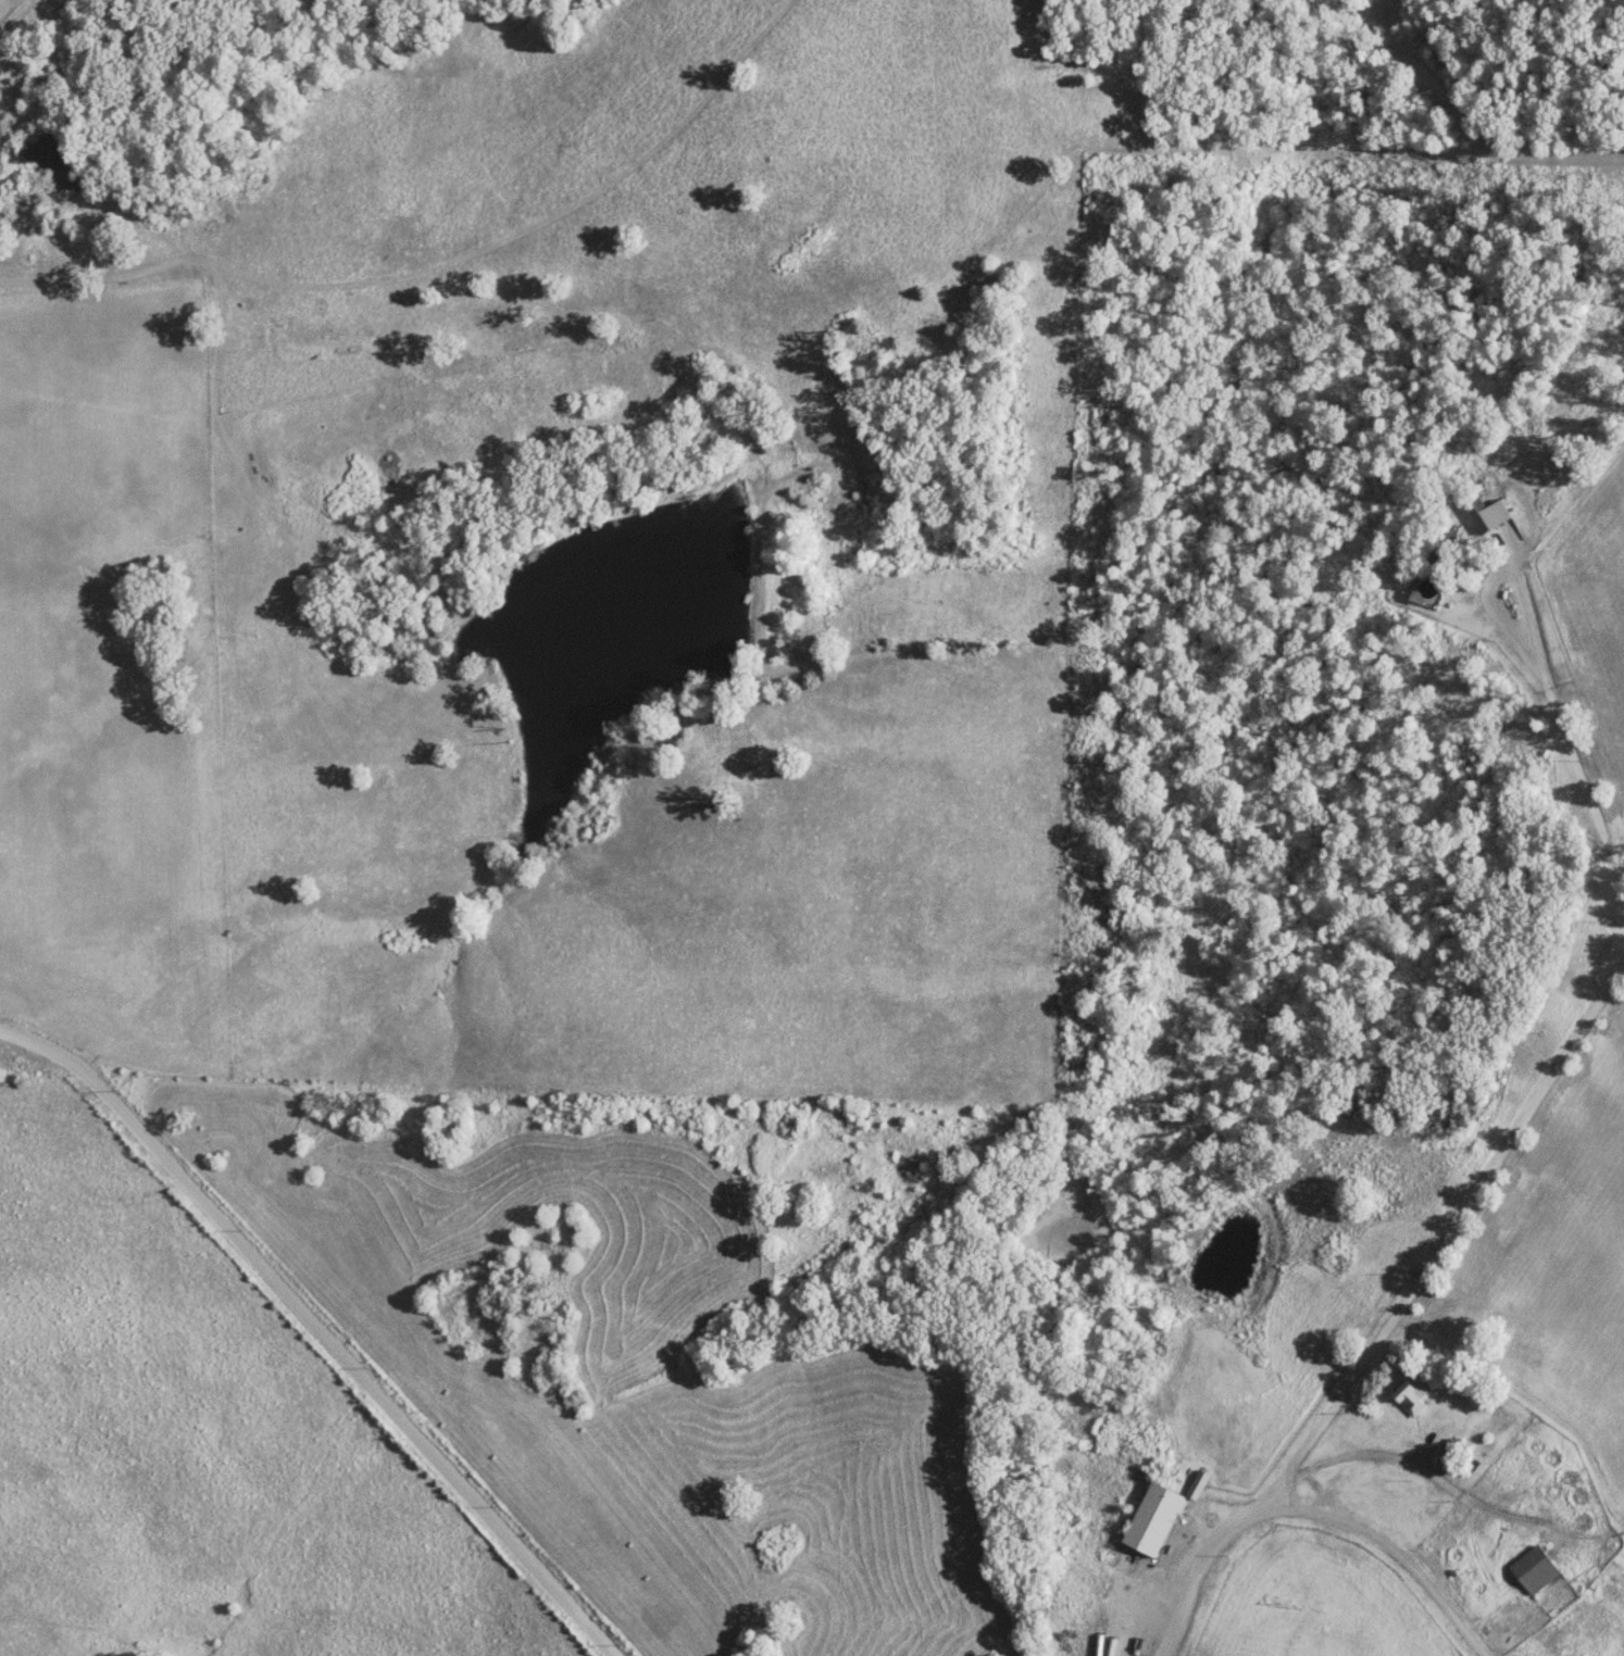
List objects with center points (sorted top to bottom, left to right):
building: (1482, 519)
road: (1491, 574)
road: (1573, 767)
road: (1396, 1307)
road: (323, 1371)
building: (1408, 1395)
building: (1153, 1518)
road: (1389, 1547)
building: (1533, 1568)

